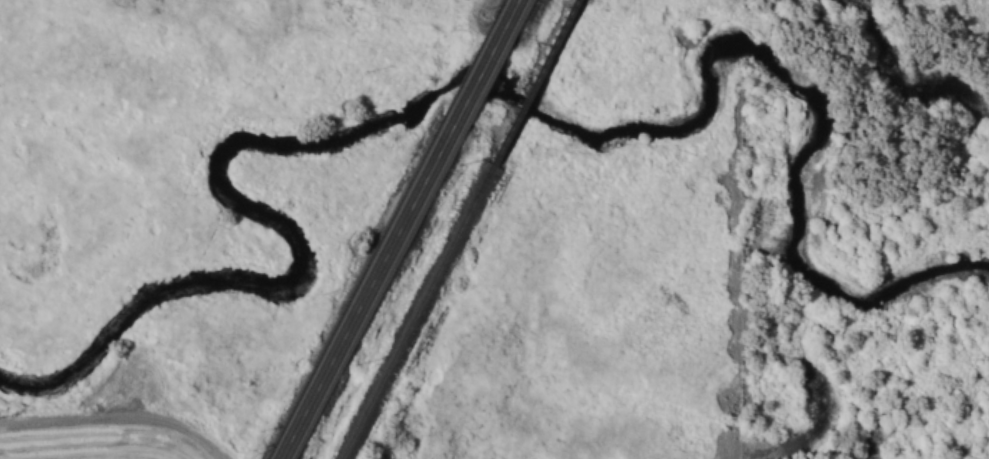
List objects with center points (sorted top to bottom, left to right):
road: (396, 229)
railway: (454, 229)

